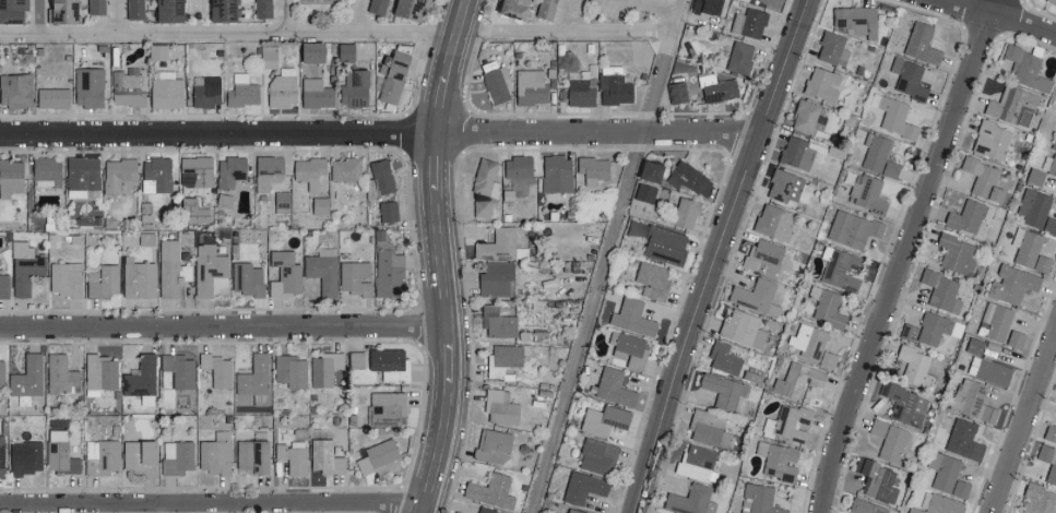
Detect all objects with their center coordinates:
park: (322, 0)
building: (764, 1)
building: (1051, 2)
building: (95, 7)
building: (376, 7)
road: (656, 7)
building: (261, 8)
building: (507, 8)
building: (61, 9)
building: (133, 9)
building: (405, 9)
building: (545, 9)
building: (10, 10)
building: (165, 10)
building: (218, 10)
building: (48, 14)
road: (574, 15)
road: (999, 15)
road: (40, 16)
road: (120, 16)
road: (287, 16)
road: (358, 16)
building: (855, 20)
building: (748, 23)
road: (334, 34)
building: (919, 44)
building: (831, 48)
building: (156, 50)
building: (307, 51)
building: (344, 51)
building: (268, 56)
building: (738, 58)
building: (1024, 68)
building: (391, 75)
building: (907, 77)
building: (494, 81)
building: (821, 84)
building: (614, 85)
building: (87, 86)
building: (531, 87)
building: (714, 87)
building: (126, 88)
building: (352, 88)
building: (14, 90)
building: (165, 91)
building: (241, 91)
building: (281, 91)
building: (206, 92)
building: (580, 92)
building: (676, 92)
building: (315, 93)
building: (51, 97)
building: (1009, 104)
building: (808, 117)
building: (895, 118)
road: (378, 132)
building: (989, 140)
building: (1054, 142)
building: (793, 152)
building: (879, 157)
building: (1052, 166)
building: (517, 167)
building: (591, 167)
building: (343, 169)
building: (646, 170)
building: (45, 171)
building: (194, 171)
building: (229, 171)
building: (266, 171)
building: (307, 171)
building: (157, 172)
building: (556, 172)
building: (117, 174)
building: (380, 176)
building: (1034, 176)
building: (10, 177)
building: (81, 177)
building: (484, 178)
building: (688, 178)
building: (982, 179)
building: (784, 187)
building: (643, 193)
building: (864, 194)
building: (318, 205)
building: (479, 208)
building: (387, 211)
building: (1036, 211)
building: (685, 212)
building: (966, 216)
building: (772, 222)
building: (852, 229)
building: (496, 244)
building: (662, 244)
building: (1029, 250)
building: (761, 253)
building: (957, 253)
road: (713, 254)
road: (904, 254)
road: (441, 255)
road: (603, 255)
building: (387, 266)
building: (24, 267)
building: (170, 269)
building: (206, 269)
building: (322, 270)
building: (842, 270)
building: (282, 273)
building: (355, 277)
building: (66, 278)
building: (138, 278)
building: (246, 278)
building: (496, 278)
building: (651, 279)
building: (103, 281)
building: (1011, 284)
building: (4, 285)
building: (940, 290)
building: (756, 296)
building: (631, 317)
building: (496, 322)
building: (998, 323)
road: (223, 325)
building: (936, 327)
building: (743, 329)
building: (909, 331)
building: (1015, 338)
building: (811, 345)
building: (629, 349)
building: (722, 358)
building: (356, 359)
building: (501, 359)
building: (388, 363)
building: (913, 366)
building: (324, 368)
building: (178, 369)
building: (215, 369)
building: (289, 370)
building: (988, 370)
building: (1, 373)
building: (60, 373)
building: (99, 373)
building: (27, 379)
building: (253, 379)
building: (141, 380)
building: (796, 380)
building: (612, 387)
building: (722, 390)
building: (968, 397)
building: (904, 404)
building: (384, 407)
building: (499, 407)
building: (987, 414)
building: (603, 419)
building: (786, 422)
building: (876, 427)
road: (1024, 427)
building: (707, 428)
building: (1049, 433)
building: (963, 440)
building: (495, 441)
building: (891, 444)
building: (58, 453)
building: (214, 453)
building: (106, 455)
building: (376, 455)
building: (0, 456)
building: (137, 456)
building: (175, 456)
building: (250, 456)
building: (293, 456)
building: (595, 456)
building: (23, 457)
building: (324, 457)
building: (1047, 462)
building: (696, 463)
building: (780, 463)
building: (946, 475)
building: (875, 480)
building: (581, 487)
building: (489, 490)
building: (690, 500)
building: (758, 500)
building: (1037, 500)
road: (210, 502)
building: (939, 503)
building: (864, 506)
building: (480, 511)
building: (571, 511)
building: (845, 512)

